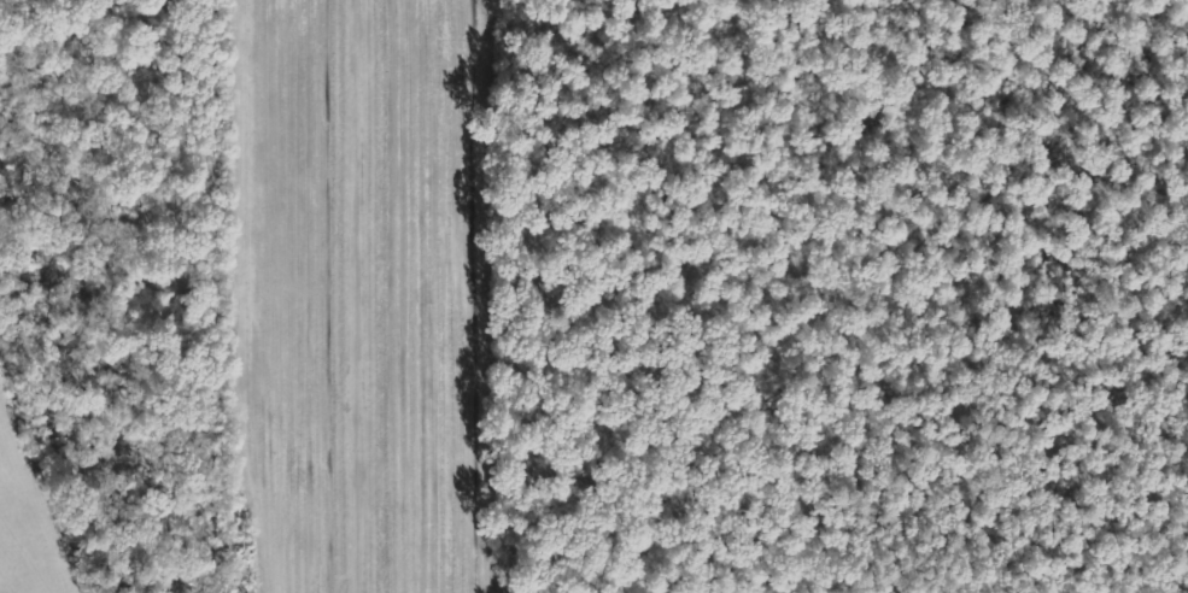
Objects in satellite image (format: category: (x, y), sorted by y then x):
road: (1071, 503)

